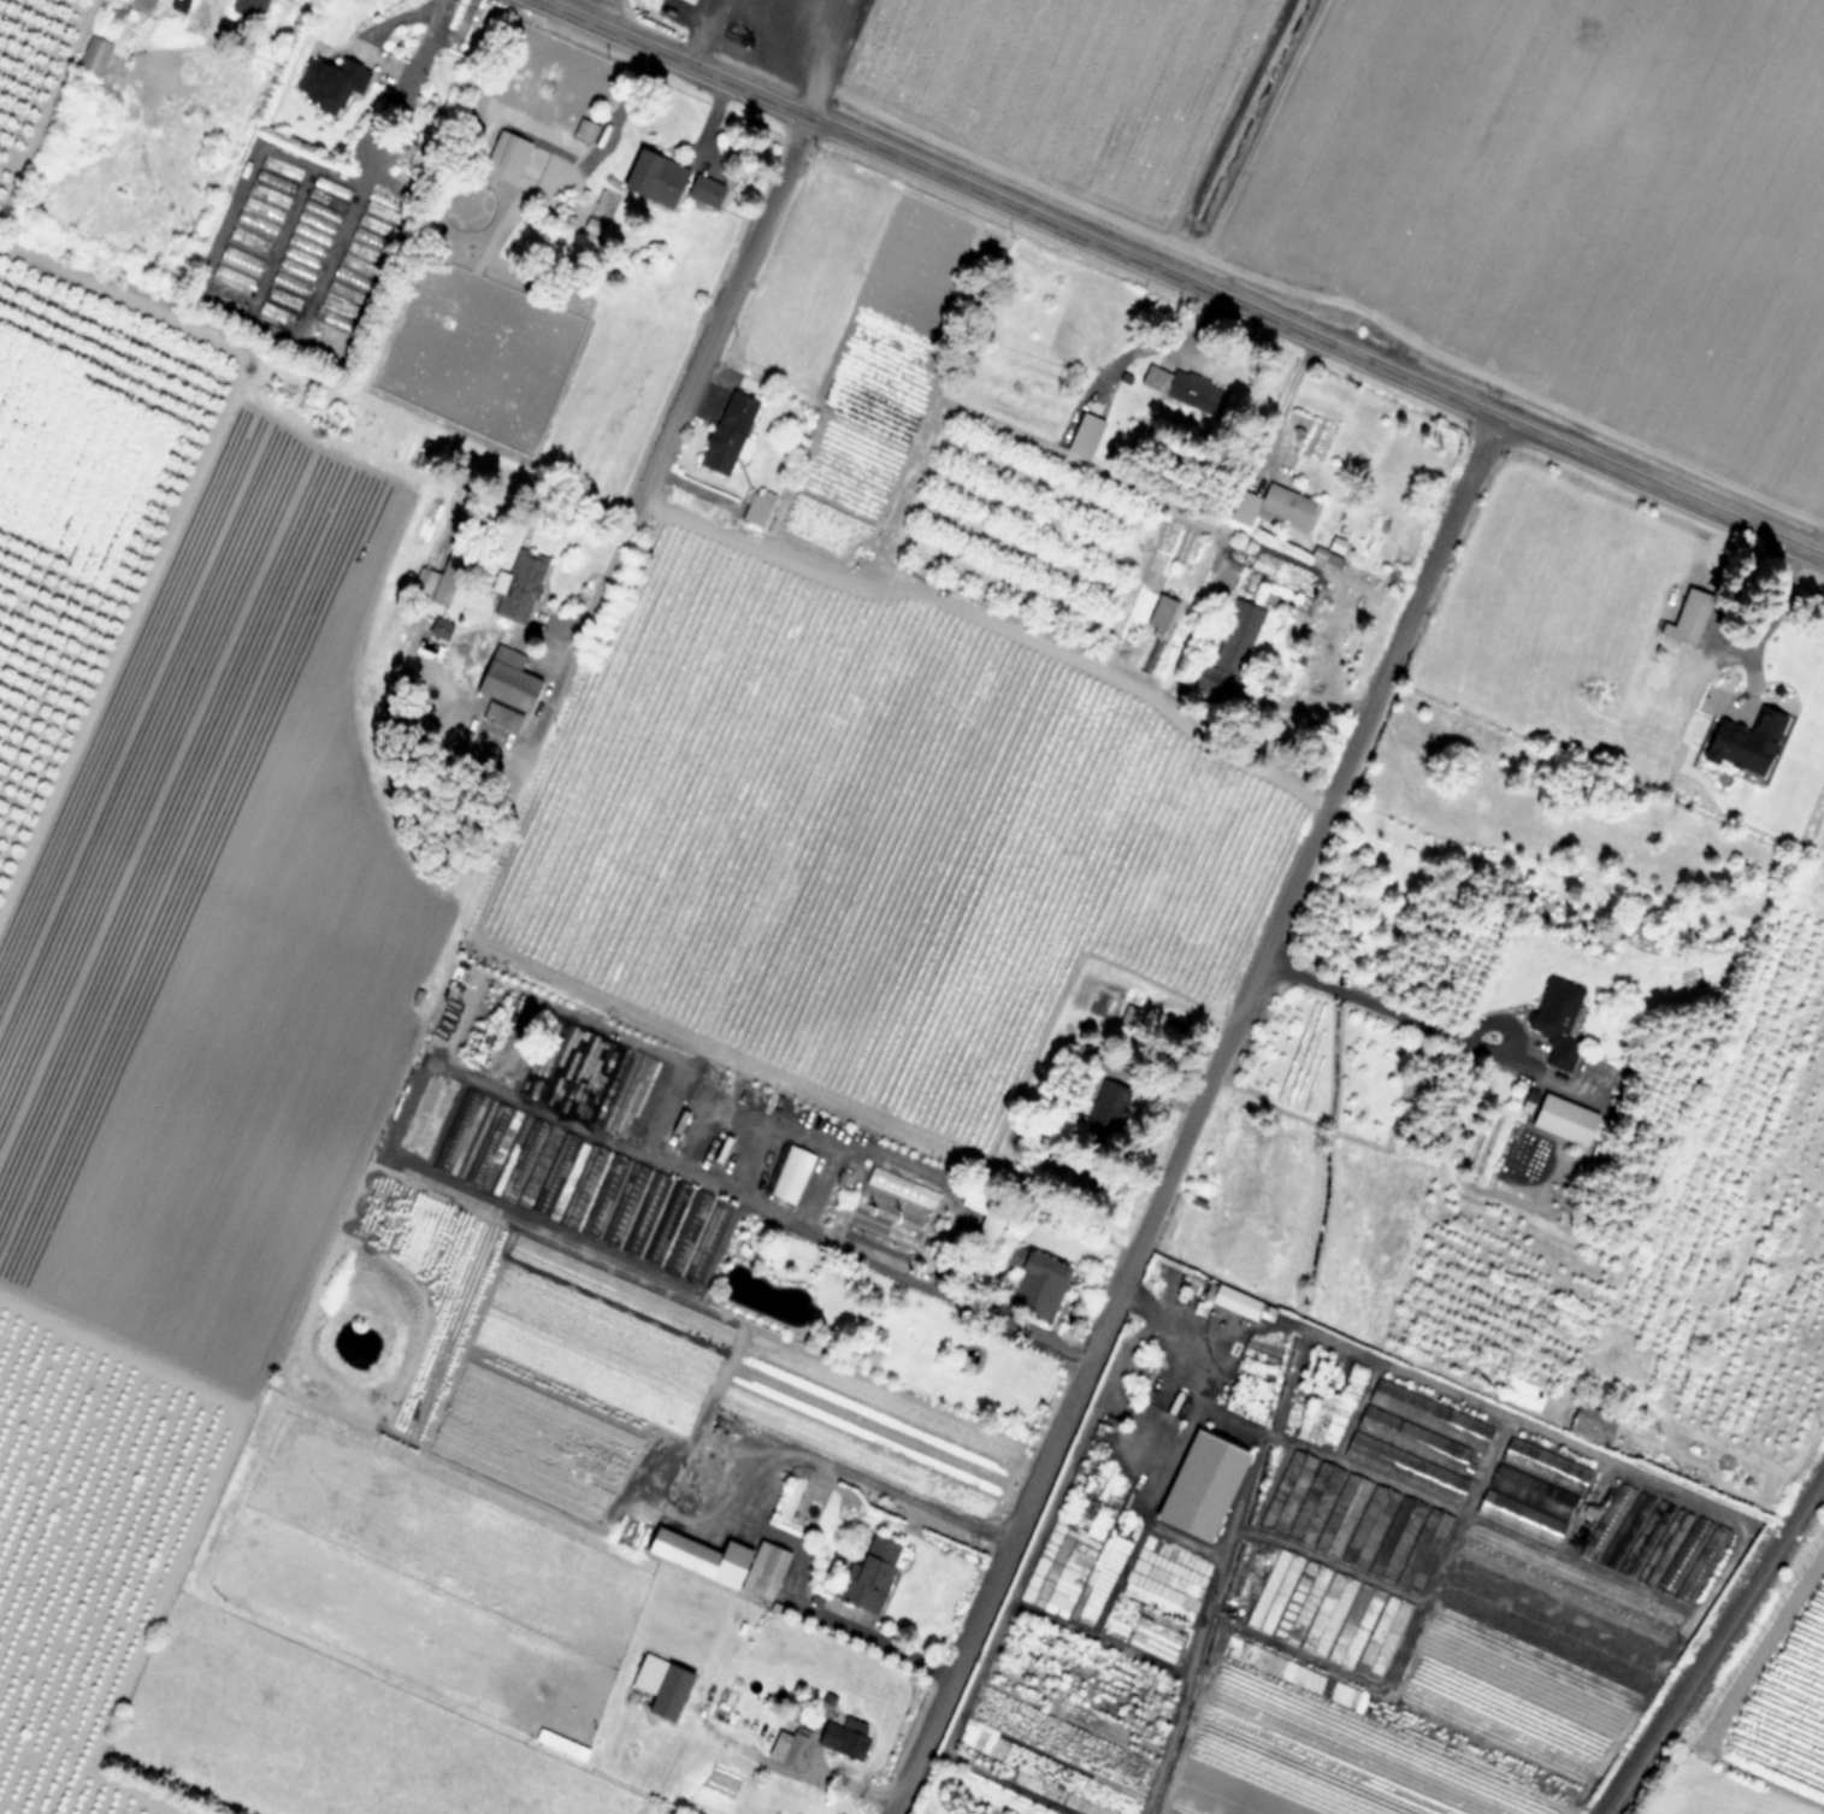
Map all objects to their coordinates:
building: (247, 8)
road: (701, 33)
road: (415, 42)
road: (813, 53)
building: (92, 58)
building: (327, 83)
building: (555, 136)
building: (420, 152)
crop: (1423, 173)
building: (653, 178)
building: (702, 189)
building: (232, 276)
road: (1179, 279)
road: (714, 330)
building: (1181, 388)
building: (726, 432)
building: (1082, 436)
building: (1270, 506)
building: (756, 507)
building: (444, 581)
building: (420, 583)
building: (516, 588)
road: (1763, 594)
building: (1687, 618)
building: (1230, 643)
building: (1812, 660)
building: (500, 693)
road: (1305, 695)
road: (532, 738)
crop: (832, 994)
building: (1554, 1020)
road: (1424, 1027)
road: (508, 1092)
building: (1105, 1107)
road: (1192, 1115)
building: (1563, 1119)
road: (784, 1123)
building: (988, 1229)
building: (1031, 1280)
building: (1234, 1301)
road: (1432, 1383)
building: (1588, 1427)
building: (1539, 1491)
road: (743, 1508)
building: (721, 1561)
building: (868, 1576)
railway: (1714, 1643)
building: (660, 1685)
building: (843, 1738)
building: (786, 1747)
road: (810, 1774)

